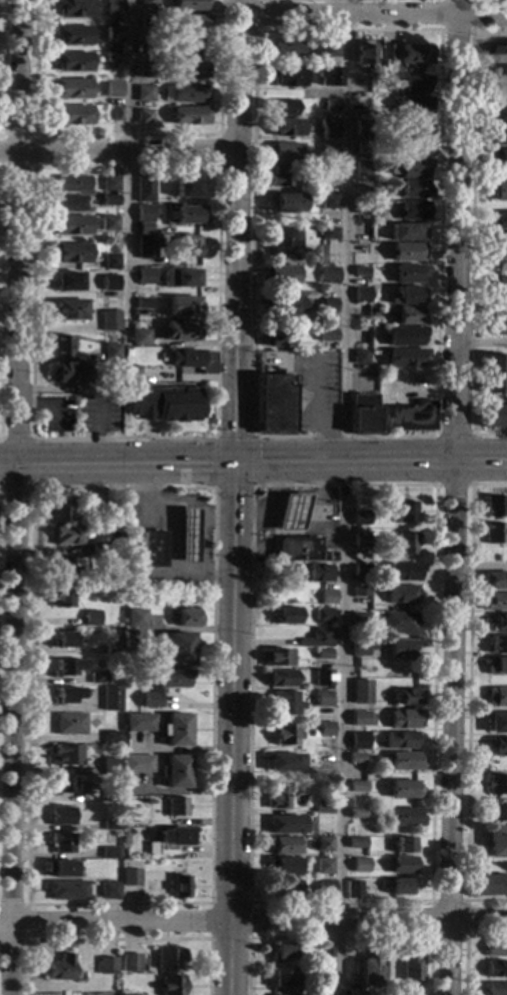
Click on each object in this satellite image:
road: (254, 0)
road: (302, 0)
building: (148, 3)
building: (188, 5)
building: (73, 8)
building: (114, 8)
road: (375, 15)
building: (147, 23)
building: (189, 23)
road: (457, 30)
building: (73, 35)
building: (114, 35)
building: (146, 46)
building: (189, 47)
building: (331, 50)
building: (288, 51)
building: (364, 53)
building: (388, 53)
building: (499, 53)
building: (415, 55)
building: (113, 57)
building: (72, 62)
building: (312, 62)
road: (2, 69)
building: (146, 70)
building: (189, 70)
building: (498, 73)
building: (330, 76)
building: (288, 77)
building: (411, 84)
building: (113, 85)
building: (71, 89)
building: (145, 93)
building: (189, 93)
building: (497, 93)
building: (333, 105)
building: (413, 105)
building: (285, 108)
building: (117, 114)
building: (72, 115)
building: (499, 115)
building: (190, 116)
building: (144, 117)
building: (363, 126)
building: (330, 127)
building: (412, 127)
building: (287, 128)
road: (125, 136)
building: (497, 136)
building: (362, 147)
building: (413, 148)
road: (219, 151)
building: (330, 151)
building: (285, 152)
road: (119, 153)
building: (497, 159)
road: (1, 168)
road: (32, 168)
building: (362, 168)
building: (413, 169)
road: (130, 171)
building: (330, 171)
building: (281, 177)
building: (73, 184)
building: (110, 184)
building: (144, 188)
building: (187, 188)
building: (413, 190)
building: (499, 191)
building: (110, 200)
building: (329, 201)
building: (287, 203)
building: (70, 204)
building: (362, 208)
building: (411, 211)
road: (0, 213)
building: (144, 214)
building: (186, 216)
building: (498, 220)
building: (109, 223)
building: (71, 225)
road: (239, 232)
building: (404, 232)
road: (349, 233)
building: (329, 234)
road: (469, 235)
building: (498, 241)
building: (287, 243)
building: (188, 247)
building: (144, 249)
building: (405, 252)
building: (69, 253)
building: (312, 260)
building: (111, 262)
building: (498, 262)
building: (360, 271)
building: (407, 273)
building: (279, 275)
building: (145, 276)
building: (328, 276)
building: (180, 279)
building: (67, 281)
building: (109, 283)
building: (498, 287)
building: (360, 294)
building: (406, 296)
building: (143, 304)
building: (327, 306)
building: (184, 307)
building: (281, 308)
building: (69, 310)
building: (407, 316)
building: (110, 321)
building: (498, 327)
building: (180, 331)
building: (326, 336)
building: (360, 336)
building: (402, 336)
building: (139, 338)
building: (277, 339)
road: (480, 343)
building: (60, 345)
building: (125, 350)
building: (111, 352)
building: (359, 357)
building: (403, 357)
building: (193, 360)
building: (68, 372)
building: (129, 373)
building: (491, 374)
road: (488, 398)
building: (273, 400)
road: (42, 404)
building: (164, 404)
building: (361, 414)
parking lot: (54, 415)
parking lot: (95, 415)
building: (409, 416)
building: (493, 416)
road: (94, 436)
road: (451, 436)
road: (251, 437)
road: (29, 465)
traffic signals: (236, 466)
road: (371, 466)
road: (118, 467)
road: (451, 486)
road: (248, 488)
road: (295, 492)
road: (16, 497)
road: (452, 497)
building: (493, 506)
road: (318, 508)
building: (58, 510)
building: (290, 513)
gas station: (290, 513)
building: (404, 513)
road: (218, 516)
road: (251, 516)
building: (359, 517)
road: (266, 519)
road: (201, 526)
building: (492, 533)
building: (65, 536)
building: (186, 536)
road: (170, 541)
building: (360, 541)
building: (404, 543)
building: (97, 548)
building: (153, 549)
building: (296, 549)
building: (112, 565)
road: (479, 565)
building: (67, 567)
building: (360, 570)
building: (402, 571)
building: (316, 574)
building: (494, 580)
building: (360, 592)
building: (400, 594)
building: (326, 596)
building: (60, 598)
building: (494, 602)
building: (324, 615)
building: (286, 616)
building: (90, 618)
building: (134, 618)
building: (184, 618)
building: (358, 620)
building: (399, 623)
building: (497, 623)
building: (318, 639)
building: (62, 640)
building: (497, 645)
building: (362, 647)
building: (400, 648)
building: (112, 649)
building: (177, 649)
building: (129, 653)
building: (323, 653)
building: (275, 658)
building: (496, 666)
building: (65, 668)
building: (97, 678)
building: (322, 678)
building: (281, 679)
building: (164, 685)
building: (360, 693)
road: (467, 695)
building: (64, 696)
building: (405, 697)
building: (496, 697)
building: (110, 699)
building: (322, 699)
building: (284, 703)
building: (360, 719)
building: (404, 719)
building: (138, 723)
building: (496, 723)
building: (68, 724)
building: (324, 729)
building: (174, 730)
road: (233, 730)
road: (341, 730)
building: (313, 734)
building: (283, 735)
building: (110, 737)
building: (358, 740)
building: (398, 740)
building: (497, 746)
building: (66, 755)
building: (303, 755)
building: (355, 758)
building: (402, 761)
building: (283, 762)
building: (135, 764)
building: (110, 766)
building: (174, 772)
building: (496, 785)
building: (61, 786)
building: (357, 786)
building: (403, 790)
building: (276, 795)
building: (110, 797)
building: (175, 807)
building: (322, 808)
building: (493, 813)
building: (355, 814)
building: (61, 816)
building: (124, 816)
building: (402, 818)
building: (285, 825)
building: (109, 826)
building: (373, 831)
building: (168, 841)
building: (496, 842)
building: (61, 843)
building: (355, 843)
building: (322, 844)
building: (282, 845)
building: (402, 845)
building: (109, 853)
building: (359, 865)
building: (402, 865)
building: (283, 866)
building: (323, 866)
building: (60, 869)
building: (130, 878)
building: (489, 886)
building: (179, 887)
building: (399, 887)
building: (324, 888)
building: (285, 889)
building: (67, 890)
building: (109, 890)
building: (352, 890)
road: (429, 900)
road: (27, 904)
road: (209, 904)
road: (253, 920)
road: (27, 922)
road: (338, 938)
road: (464, 938)
road: (118, 939)
road: (464, 945)
building: (496, 948)
building: (325, 950)
building: (280, 951)
building: (168, 959)
building: (129, 963)
building: (106, 966)
building: (61, 968)
building: (409, 968)
building: (496, 969)
building: (368, 970)
building: (319, 974)
building: (283, 979)
building: (170, 985)
building: (496, 989)
building: (354, 993)
building: (125, 994)
building: (405, 994)

